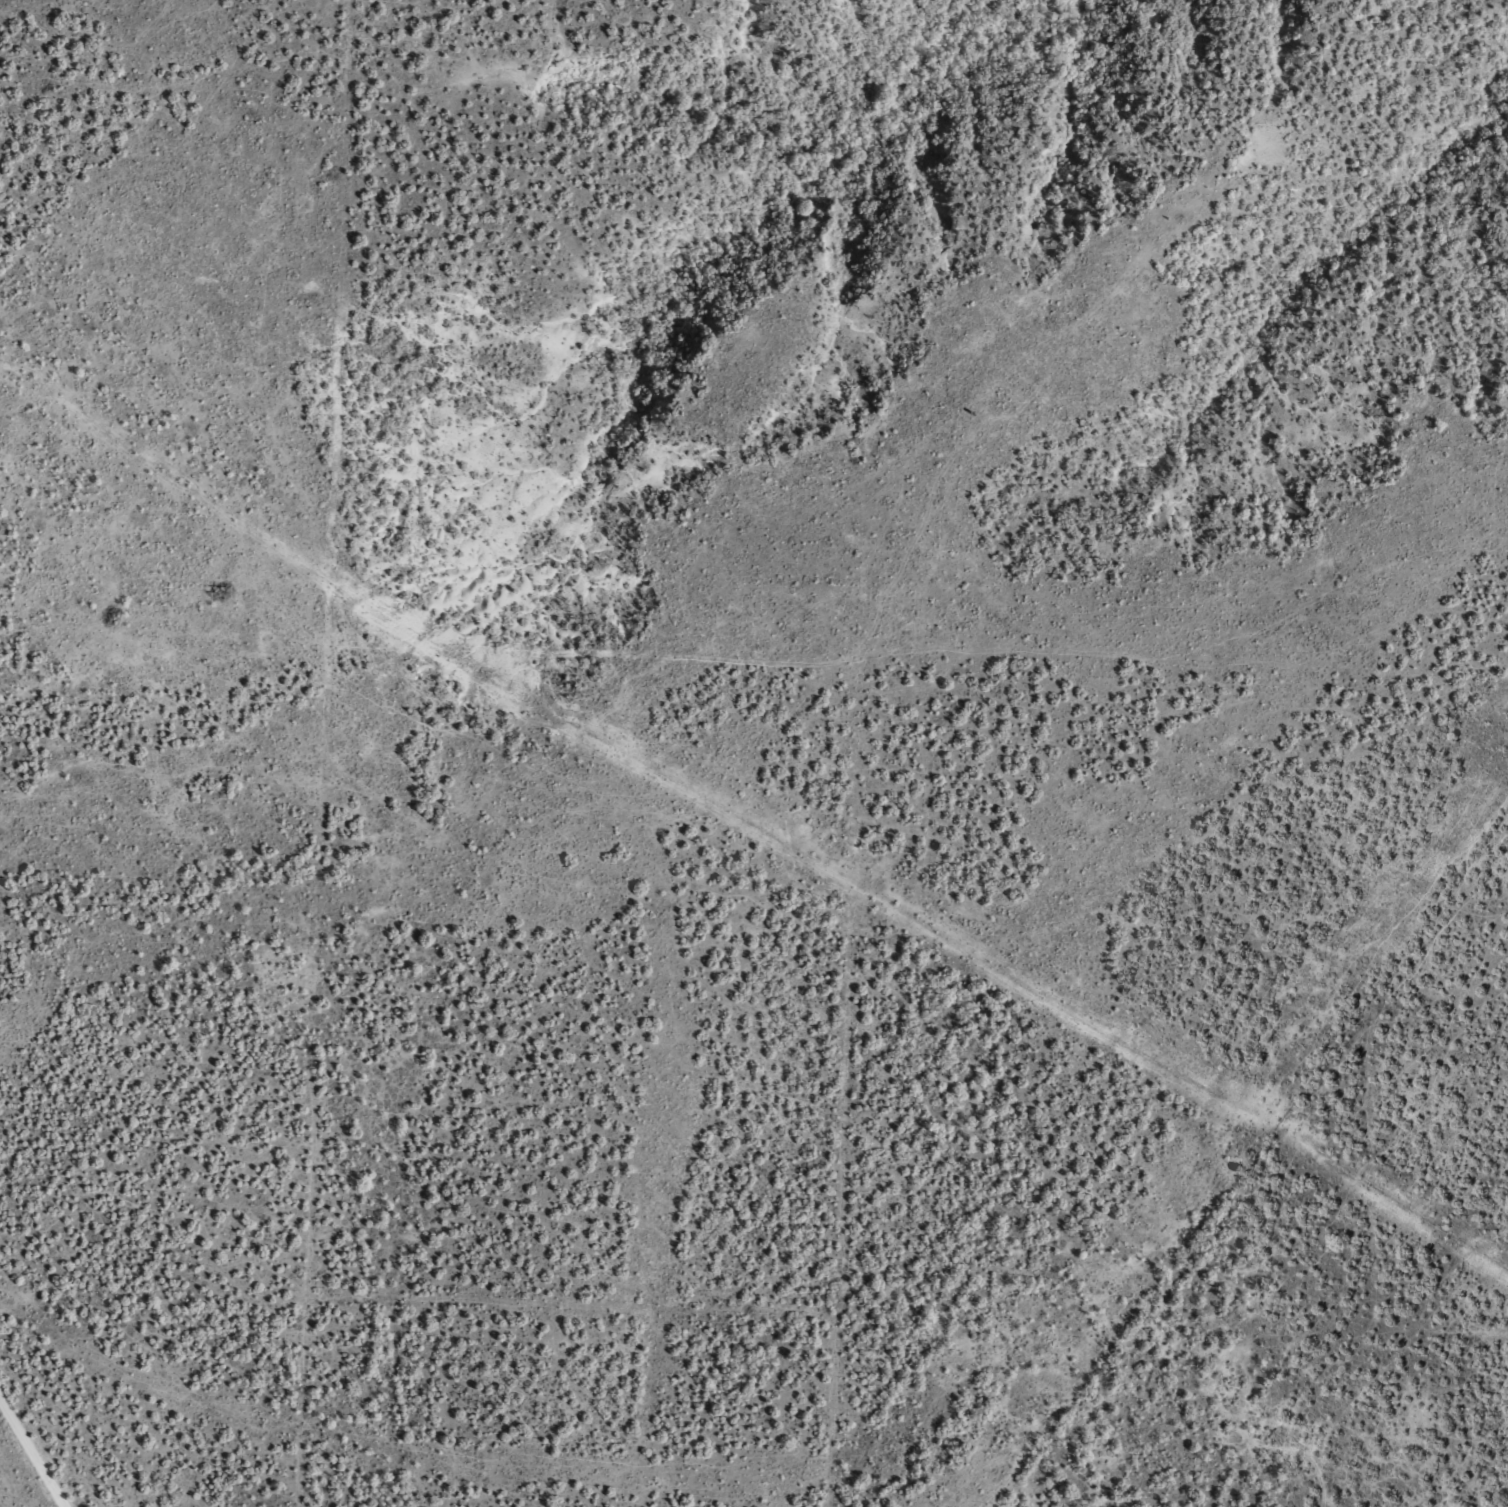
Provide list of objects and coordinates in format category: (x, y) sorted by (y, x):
road: (29, 1456)

